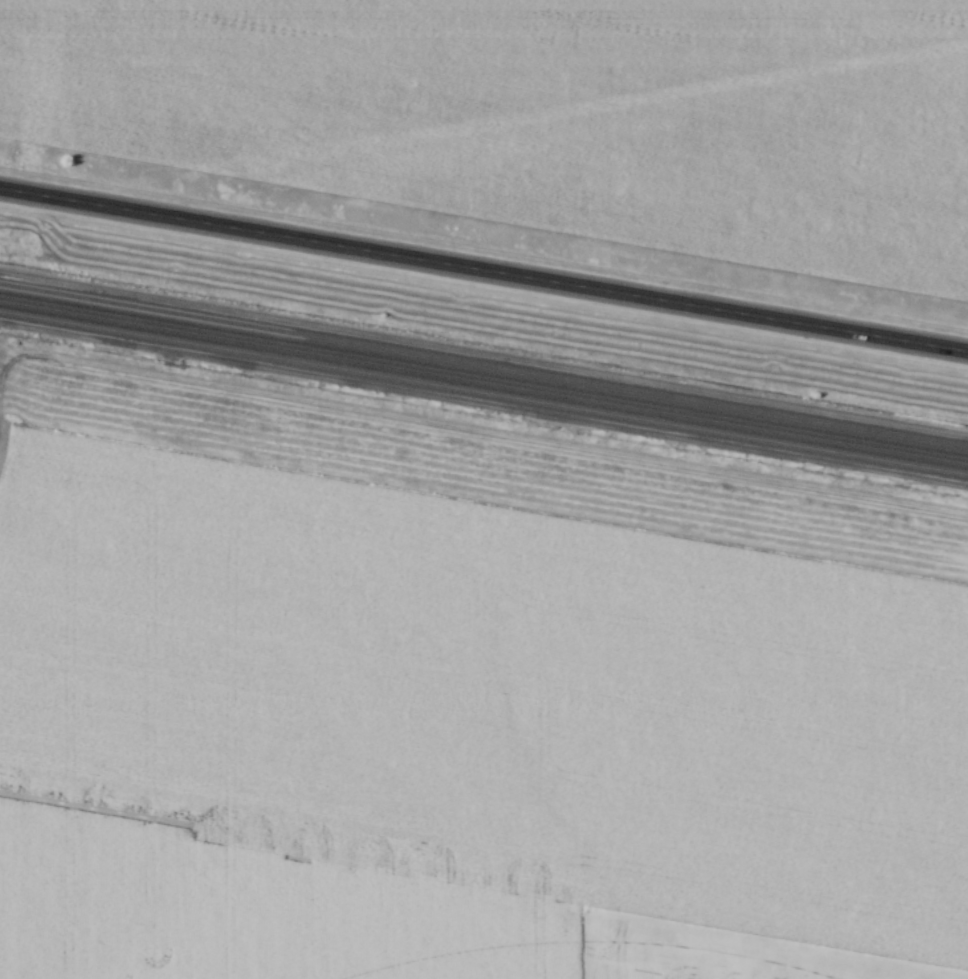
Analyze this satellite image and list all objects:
crop: (543, 114)
road: (484, 269)
railway: (484, 364)
railway: (484, 378)
railway: (484, 391)

